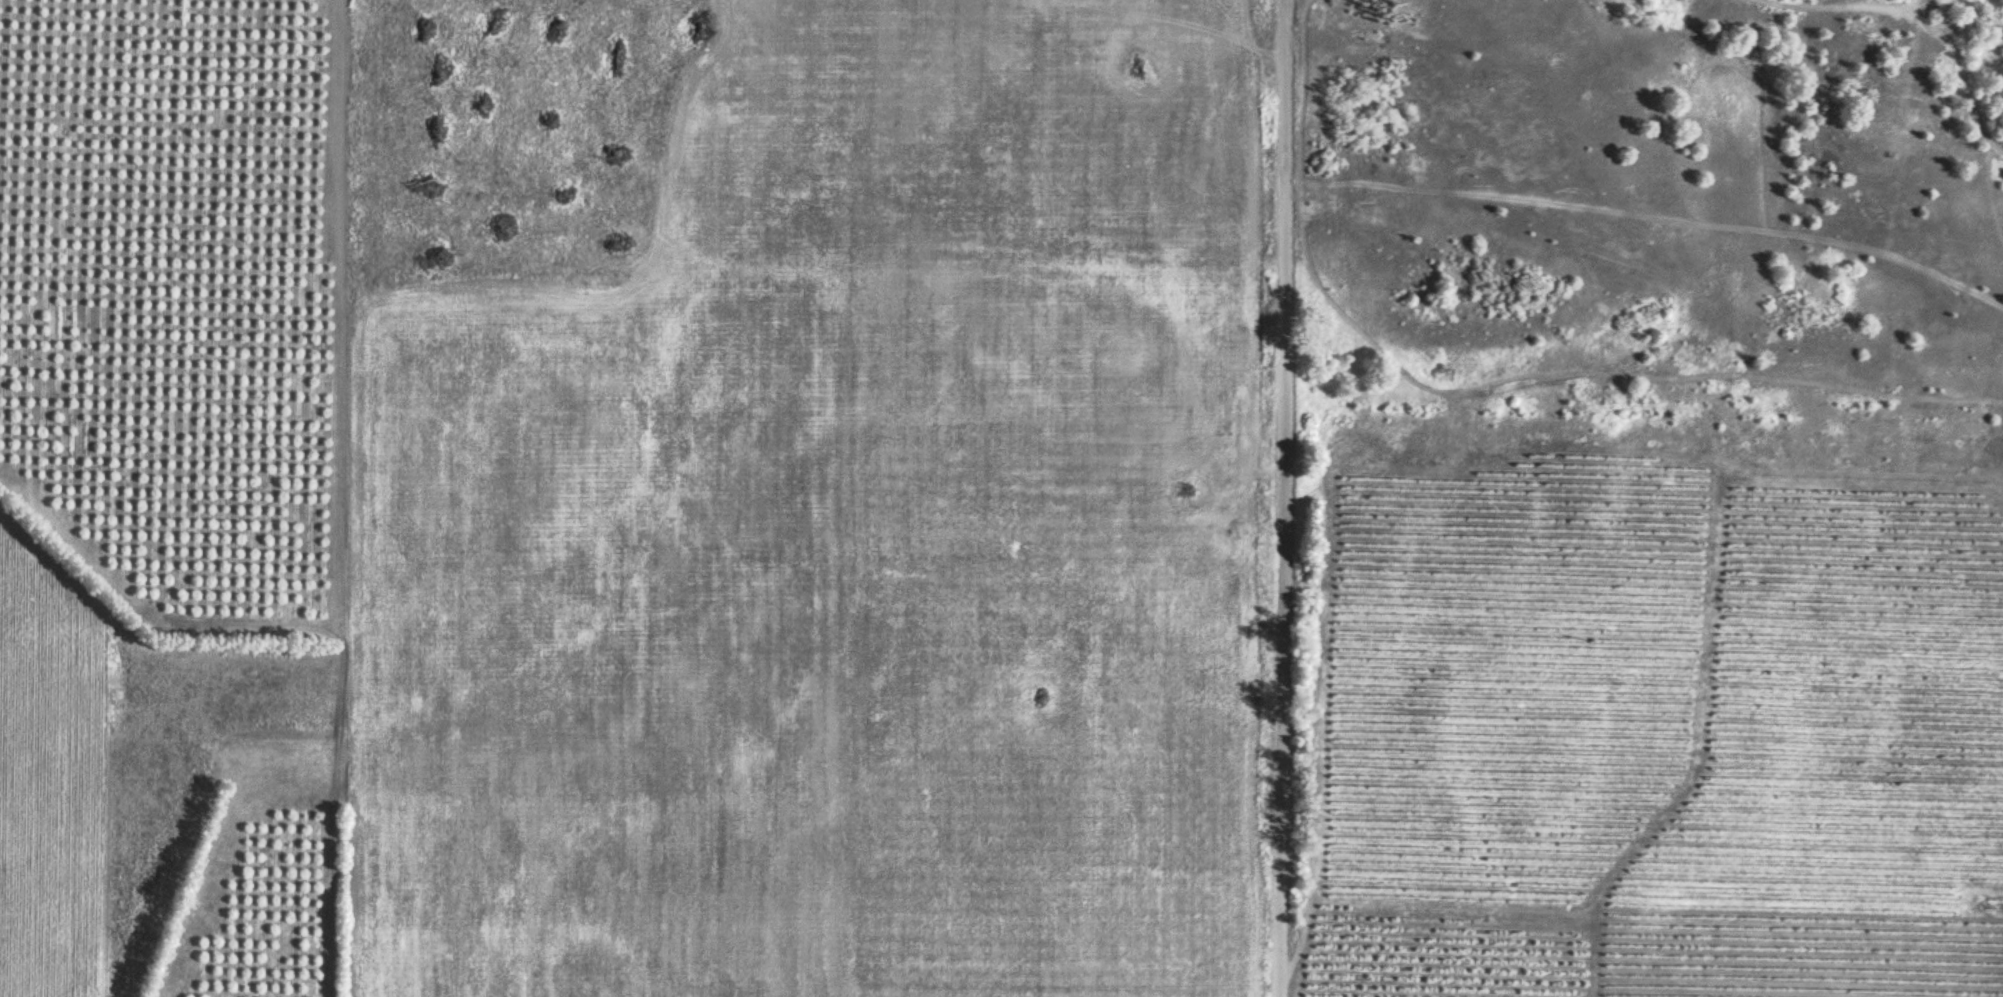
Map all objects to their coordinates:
road: (1273, 498)

